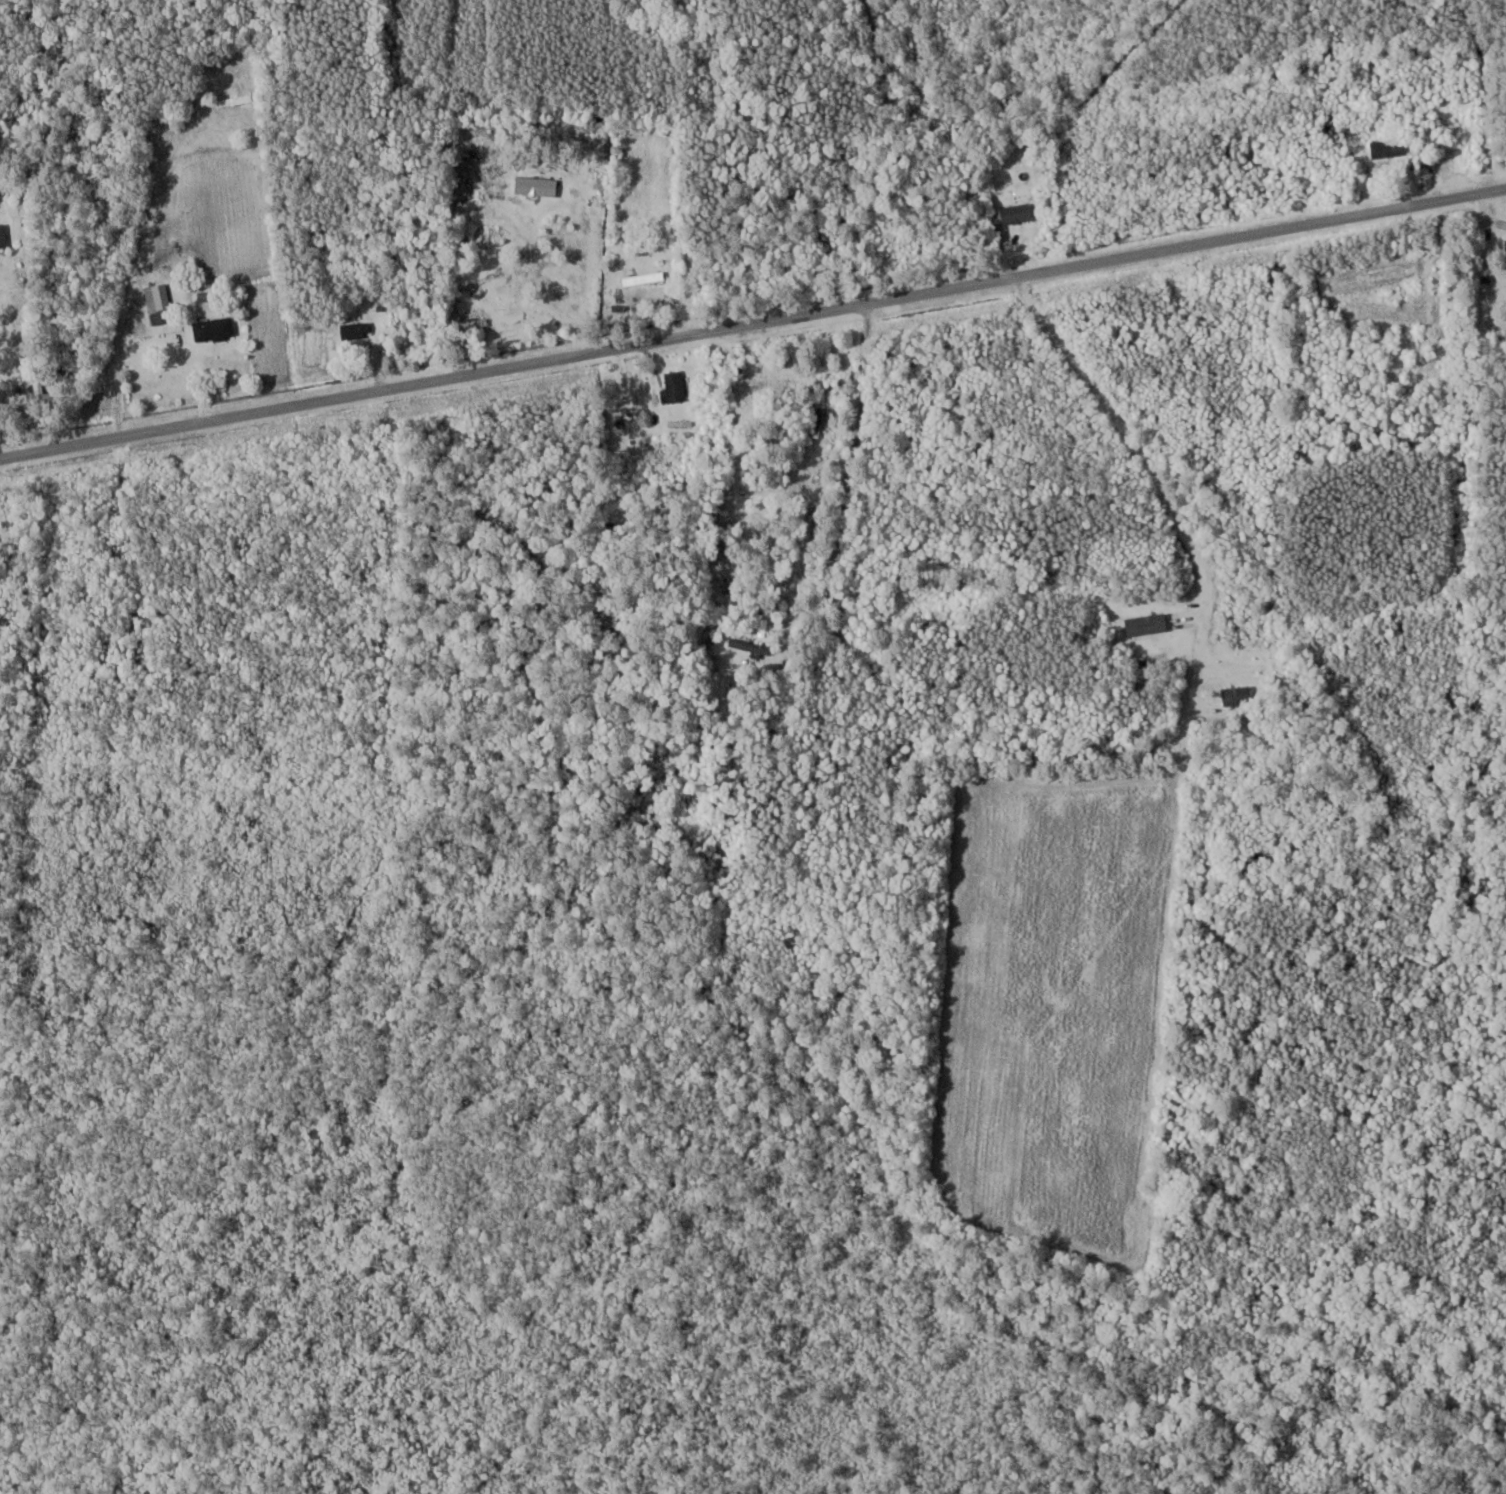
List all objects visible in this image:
building: (235, 100)
building: (1389, 147)
building: (538, 168)
building: (537, 185)
building: (1017, 214)
building: (3, 236)
building: (644, 278)
building: (158, 297)
road: (124, 307)
road: (752, 323)
building: (473, 324)
building: (214, 329)
building: (356, 330)
building: (841, 384)
building: (675, 385)
building: (819, 419)
road: (1134, 444)
building: (750, 643)
road: (870, 645)

